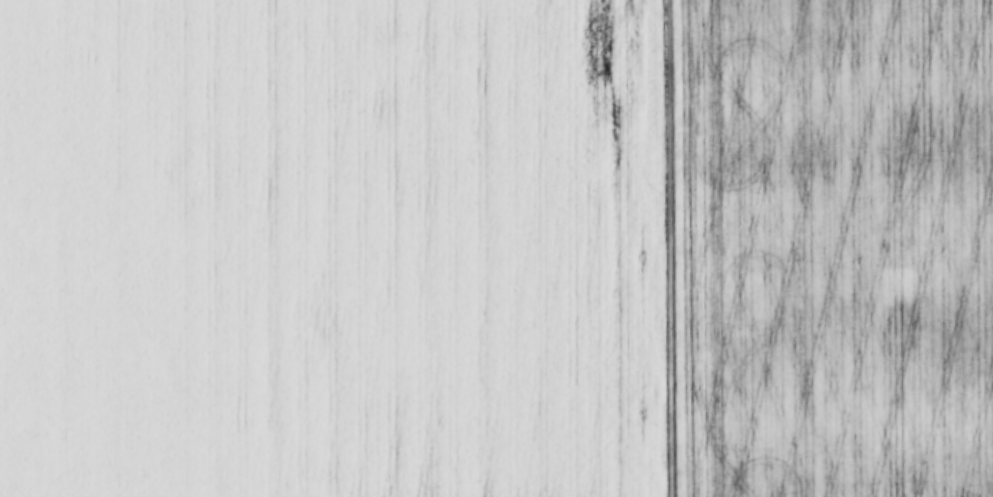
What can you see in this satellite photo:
crop: (496, 248)

